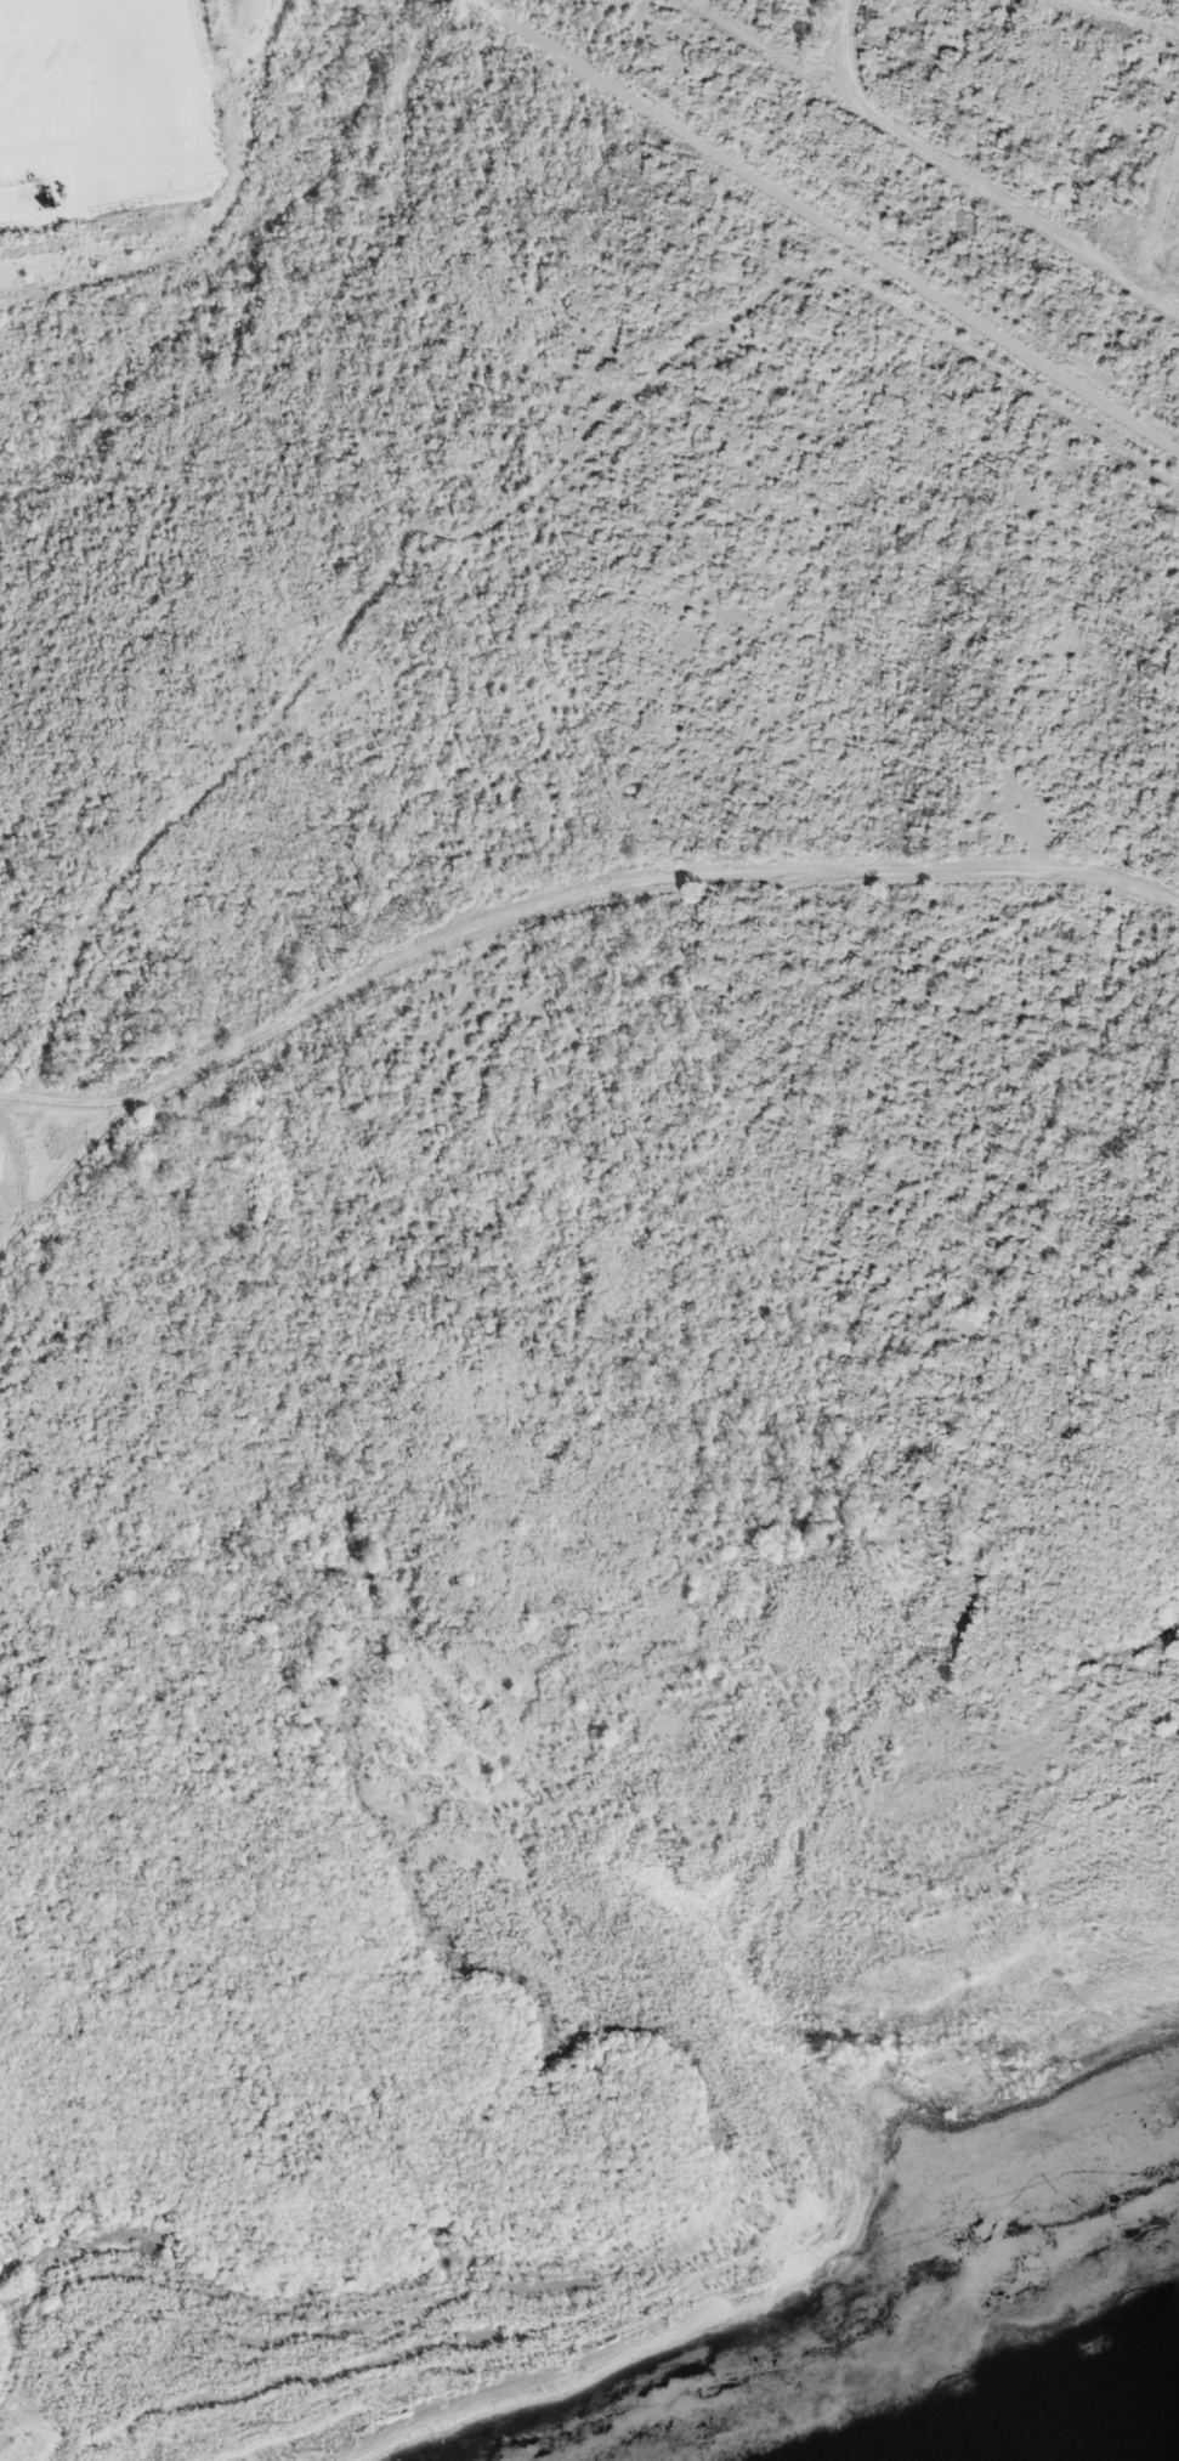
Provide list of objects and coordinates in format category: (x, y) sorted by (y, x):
road: (848, 213)
road: (569, 898)
road: (57, 1177)

